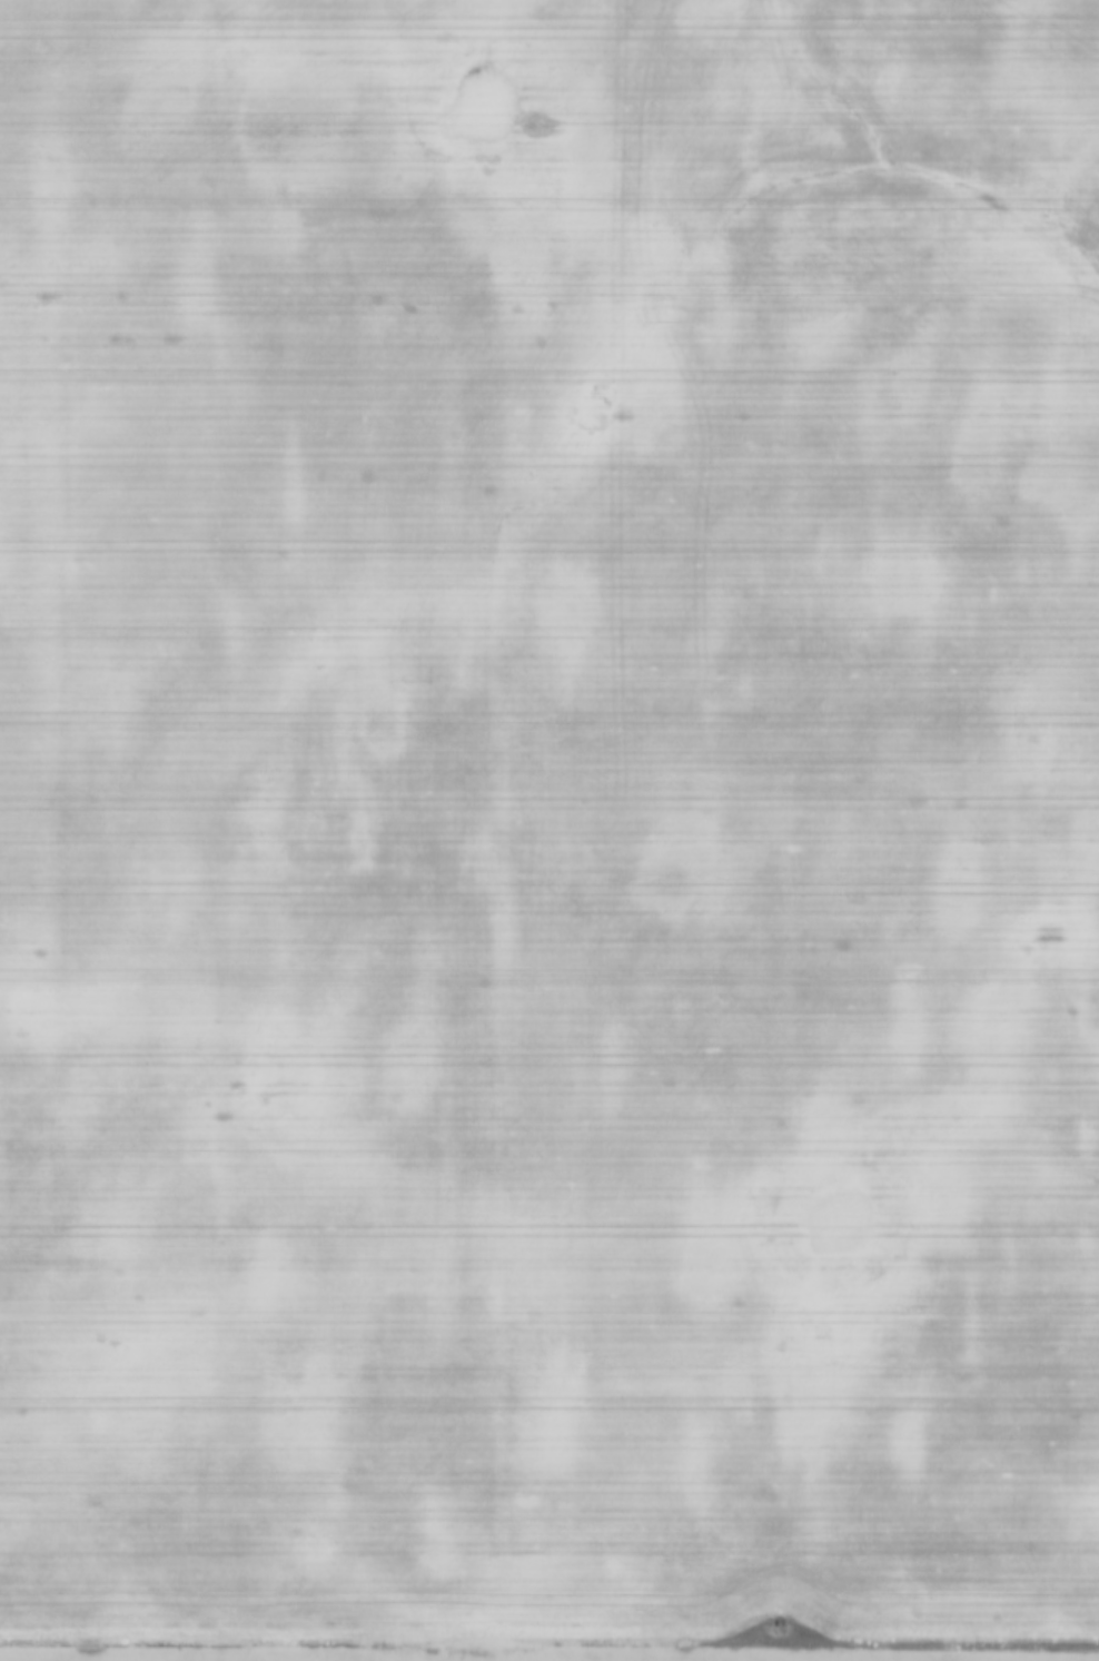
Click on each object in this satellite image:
road: (549, 1645)

